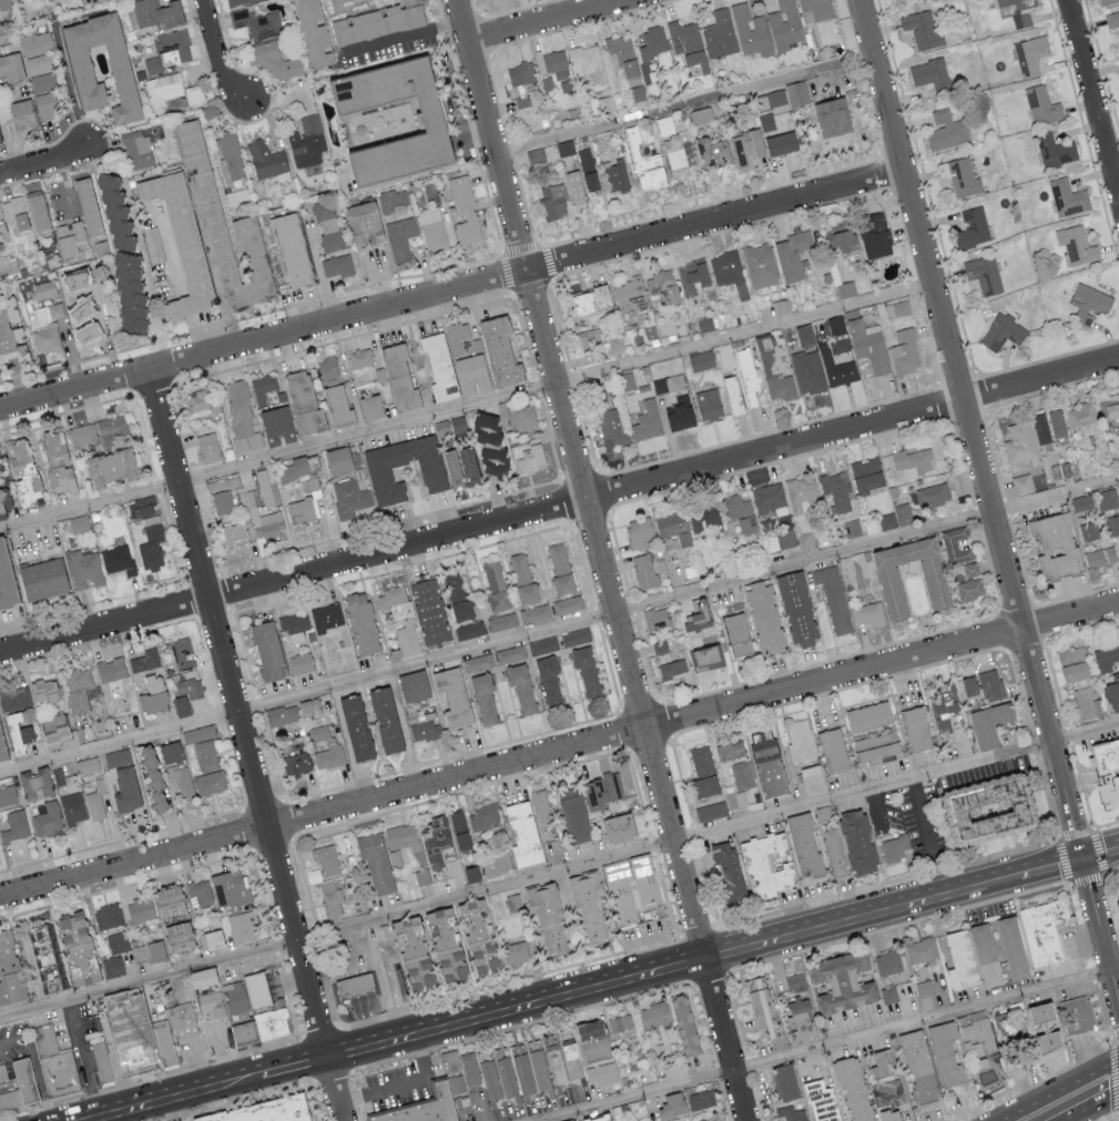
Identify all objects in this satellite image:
building: (236, 1)
building: (1106, 1)
building: (360, 8)
building: (816, 8)
building: (1017, 11)
building: (156, 12)
building: (1112, 19)
building: (378, 22)
road: (553, 22)
building: (257, 23)
building: (784, 24)
building: (922, 28)
building: (751, 30)
building: (314, 33)
building: (719, 34)
road: (401, 35)
building: (37, 42)
building: (173, 42)
building: (688, 45)
road: (220, 54)
building: (621, 54)
building: (1029, 54)
building: (274, 60)
building: (588, 61)
building: (39, 63)
building: (120, 63)
building: (152, 64)
building: (556, 64)
building: (11, 67)
building: (521, 71)
building: (932, 73)
building: (43, 82)
building: (164, 88)
building: (194, 93)
building: (637, 93)
building: (796, 93)
road: (1093, 96)
building: (776, 98)
building: (176, 102)
building: (47, 104)
building: (604, 104)
building: (1041, 105)
road: (686, 106)
building: (21, 114)
building: (831, 118)
building: (436, 126)
building: (945, 130)
building: (0, 141)
building: (306, 142)
building: (780, 143)
building: (566, 147)
building: (745, 147)
building: (136, 150)
building: (1055, 151)
building: (711, 152)
building: (536, 155)
road: (47, 156)
building: (674, 156)
building: (231, 159)
building: (267, 161)
building: (643, 163)
building: (587, 169)
building: (616, 175)
building: (960, 176)
road: (67, 183)
building: (573, 187)
building: (1067, 197)
building: (553, 204)
building: (87, 206)
building: (37, 211)
building: (113, 212)
building: (16, 213)
building: (467, 215)
building: (397, 221)
building: (1, 224)
building: (366, 226)
building: (972, 227)
building: (223, 231)
building: (434, 231)
building: (874, 234)
building: (69, 238)
building: (842, 238)
building: (181, 243)
building: (332, 243)
building: (153, 244)
building: (1076, 244)
building: (293, 252)
building: (792, 255)
road: (172, 262)
building: (760, 265)
building: (8, 266)
road: (319, 272)
building: (729, 272)
building: (984, 274)
building: (692, 276)
building: (661, 285)
building: (846, 288)
building: (43, 289)
building: (128, 292)
road: (452, 292)
building: (630, 294)
building: (587, 299)
building: (1089, 303)
road: (185, 307)
building: (898, 308)
building: (704, 324)
building: (835, 325)
building: (81, 326)
building: (47, 328)
building: (1001, 333)
building: (457, 337)
road: (193, 338)
building: (589, 338)
building: (868, 345)
building: (498, 351)
building: (904, 351)
building: (359, 358)
building: (701, 360)
building: (438, 367)
building: (327, 368)
building: (837, 369)
road: (956, 370)
building: (750, 371)
building: (470, 374)
building: (775, 376)
building: (398, 378)
building: (627, 380)
building: (810, 380)
building: (668, 384)
building: (262, 387)
building: (732, 395)
building: (201, 401)
building: (303, 404)
building: (708, 404)
building: (337, 407)
building: (369, 407)
building: (1109, 407)
road: (467, 410)
building: (680, 414)
building: (1080, 415)
building: (520, 417)
building: (241, 418)
building: (647, 421)
building: (1056, 422)
building: (276, 426)
building: (449, 427)
building: (612, 428)
building: (1039, 428)
building: (112, 429)
building: (82, 434)
building: (1019, 442)
building: (489, 445)
building: (207, 448)
building: (530, 459)
building: (337, 460)
building: (913, 460)
building: (55, 463)
building: (469, 466)
building: (108, 468)
building: (451, 468)
building: (293, 469)
building: (21, 470)
building: (431, 473)
building: (865, 476)
building: (221, 483)
building: (1021, 485)
building: (835, 492)
building: (802, 495)
building: (932, 495)
building: (349, 498)
building: (769, 499)
building: (1108, 499)
building: (4, 501)
building: (222, 502)
building: (1082, 502)
road: (560, 508)
building: (139, 509)
building: (301, 510)
building: (740, 512)
building: (903, 513)
building: (703, 519)
building: (887, 521)
building: (266, 522)
building: (78, 524)
building: (1112, 524)
building: (672, 530)
building: (639, 531)
building: (1089, 531)
building: (232, 533)
building: (785, 538)
building: (151, 544)
building: (956, 544)
building: (1056, 546)
building: (1100, 557)
building: (118, 559)
road: (603, 559)
building: (560, 568)
building: (85, 569)
building: (970, 569)
building: (644, 571)
building: (494, 575)
building: (41, 579)
building: (522, 579)
building: (4, 582)
building: (891, 584)
building: (969, 589)
building: (457, 595)
building: (390, 597)
building: (834, 598)
building: (497, 601)
building: (567, 604)
building: (796, 609)
building: (428, 612)
building: (535, 612)
building: (868, 613)
building: (326, 616)
building: (764, 618)
building: (655, 619)
building: (695, 620)
building: (502, 621)
building: (360, 624)
building: (294, 625)
road: (559, 626)
building: (469, 630)
building: (736, 634)
building: (574, 636)
building: (407, 638)
building: (543, 645)
building: (266, 652)
building: (510, 653)
building: (182, 654)
building: (706, 658)
building: (1105, 658)
building: (145, 660)
building: (299, 663)
building: (478, 663)
building: (1072, 664)
building: (672, 669)
building: (111, 670)
building: (586, 670)
building: (549, 682)
building: (984, 684)
building: (413, 686)
building: (190, 687)
building: (78, 689)
building: (521, 690)
building: (43, 692)
building: (1112, 692)
building: (152, 695)
building: (455, 695)
building: (14, 699)
building: (484, 700)
building: (1088, 704)
building: (180, 706)
building: (308, 707)
building: (282, 715)
building: (867, 715)
building: (384, 721)
building: (988, 722)
building: (915, 727)
building: (52, 728)
building: (355, 728)
building: (17, 730)
road: (404, 731)
building: (425, 731)
building: (199, 733)
building: (800, 740)
building: (876, 745)
road: (247, 746)
building: (326, 748)
building: (730, 748)
building: (832, 748)
building: (1, 752)
road: (559, 752)
building: (170, 753)
building: (205, 755)
building: (118, 757)
building: (701, 760)
building: (295, 764)
building: (87, 765)
building: (767, 766)
building: (1113, 770)
building: (742, 774)
building: (812, 778)
building: (151, 779)
building: (181, 781)
building: (211, 782)
building: (34, 784)
building: (612, 785)
building: (704, 785)
building: (125, 791)
building: (8, 795)
road: (1066, 799)
building: (997, 803)
building: (95, 805)
building: (73, 808)
building: (711, 809)
building: (882, 811)
building: (573, 814)
building: (482, 815)
building: (48, 818)
road: (1106, 824)
building: (14, 826)
building: (617, 826)
building: (459, 828)
road: (1092, 828)
building: (522, 834)
building: (400, 835)
road: (927, 837)
building: (856, 839)
building: (437, 843)
building: (803, 844)
building: (897, 848)
building: (834, 852)
road: (1099, 853)
building: (326, 858)
traffic signals: (1080, 858)
building: (375, 862)
building: (496, 863)
building: (766, 864)
road: (1050, 866)
road: (1110, 869)
road: (559, 872)
building: (470, 873)
building: (734, 873)
building: (421, 876)
road: (1001, 879)
road: (887, 881)
building: (230, 888)
building: (619, 889)
building: (200, 891)
road: (1113, 894)
building: (330, 897)
building: (167, 898)
building: (513, 901)
building: (587, 905)
building: (140, 909)
road: (1095, 915)
building: (108, 916)
building: (547, 918)
road: (852, 918)
building: (440, 926)
road: (897, 926)
building: (243, 927)
building: (1042, 929)
road: (698, 933)
building: (477, 935)
building: (177, 936)
building: (212, 938)
building: (118, 941)
building: (410, 945)
building: (77, 947)
road: (359, 947)
building: (1011, 947)
building: (920, 949)
building: (150, 950)
building: (515, 951)
building: (985, 954)
road: (705, 958)
building: (43, 959)
building: (959, 959)
building: (887, 961)
building: (449, 962)
building: (113, 966)
building: (9, 969)
building: (207, 974)
road: (1090, 974)
road: (711, 977)
building: (848, 977)
building: (795, 980)
road: (510, 982)
building: (359, 985)
road: (1115, 986)
building: (924, 988)
building: (261, 989)
building: (888, 993)
building: (238, 999)
building: (215, 1005)
building: (767, 1006)
road: (517, 1008)
building: (654, 1015)
building: (1077, 1017)
building: (182, 1019)
building: (800, 1019)
road: (537, 1020)
building: (276, 1022)
building: (619, 1023)
building: (683, 1023)
building: (133, 1026)
building: (1045, 1028)
building: (979, 1030)
building: (247, 1031)
building: (591, 1038)
building: (167, 1044)
road: (832, 1047)
road: (221, 1052)
building: (944, 1052)
road: (337, 1056)
building: (572, 1058)
road: (84, 1059)
building: (104, 1061)
building: (450, 1061)
road: (815, 1061)
building: (557, 1062)
road: (749, 1064)
building: (918, 1064)
building: (57, 1066)
road: (196, 1066)
road: (295, 1067)
road: (35, 1068)
building: (470, 1068)
building: (531, 1069)
road: (1059, 1071)
road: (719, 1072)
building: (602, 1073)
road: (1115, 1073)
building: (507, 1077)
building: (490, 1079)
road: (242, 1081)
building: (784, 1081)
building: (27, 1082)
building: (459, 1083)
road: (404, 1084)
building: (8, 1088)
building: (852, 1088)
road: (1058, 1089)
road: (756, 1098)
building: (700, 1099)
building: (821, 1100)
road: (725, 1101)
road: (154, 1103)
building: (671, 1104)
building: (428, 1105)
road: (1092, 1107)
road: (484, 1108)
building: (266, 1109)
road: (171, 1110)
building: (791, 1113)
building: (887, 1114)
building: (596, 1117)
building: (571, 1120)

